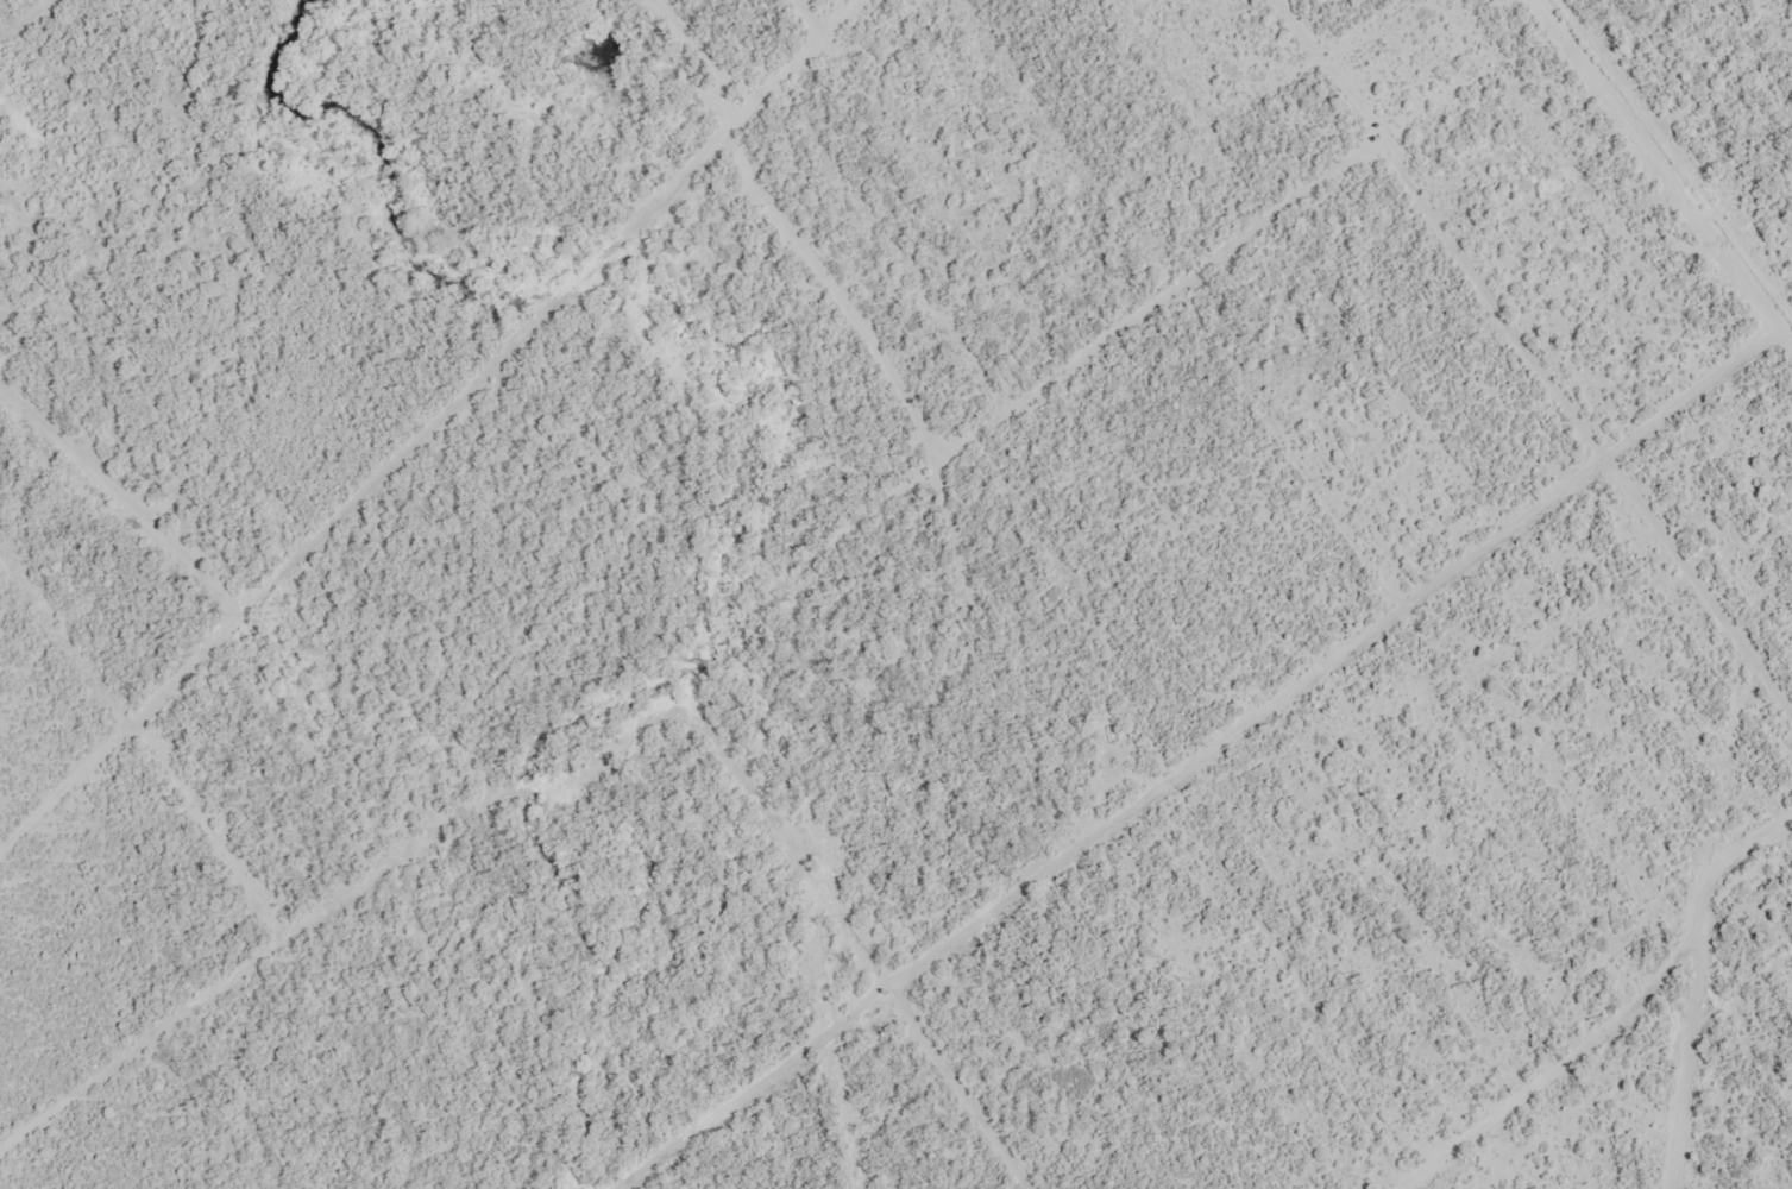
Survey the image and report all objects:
road: (1622, 1030)

